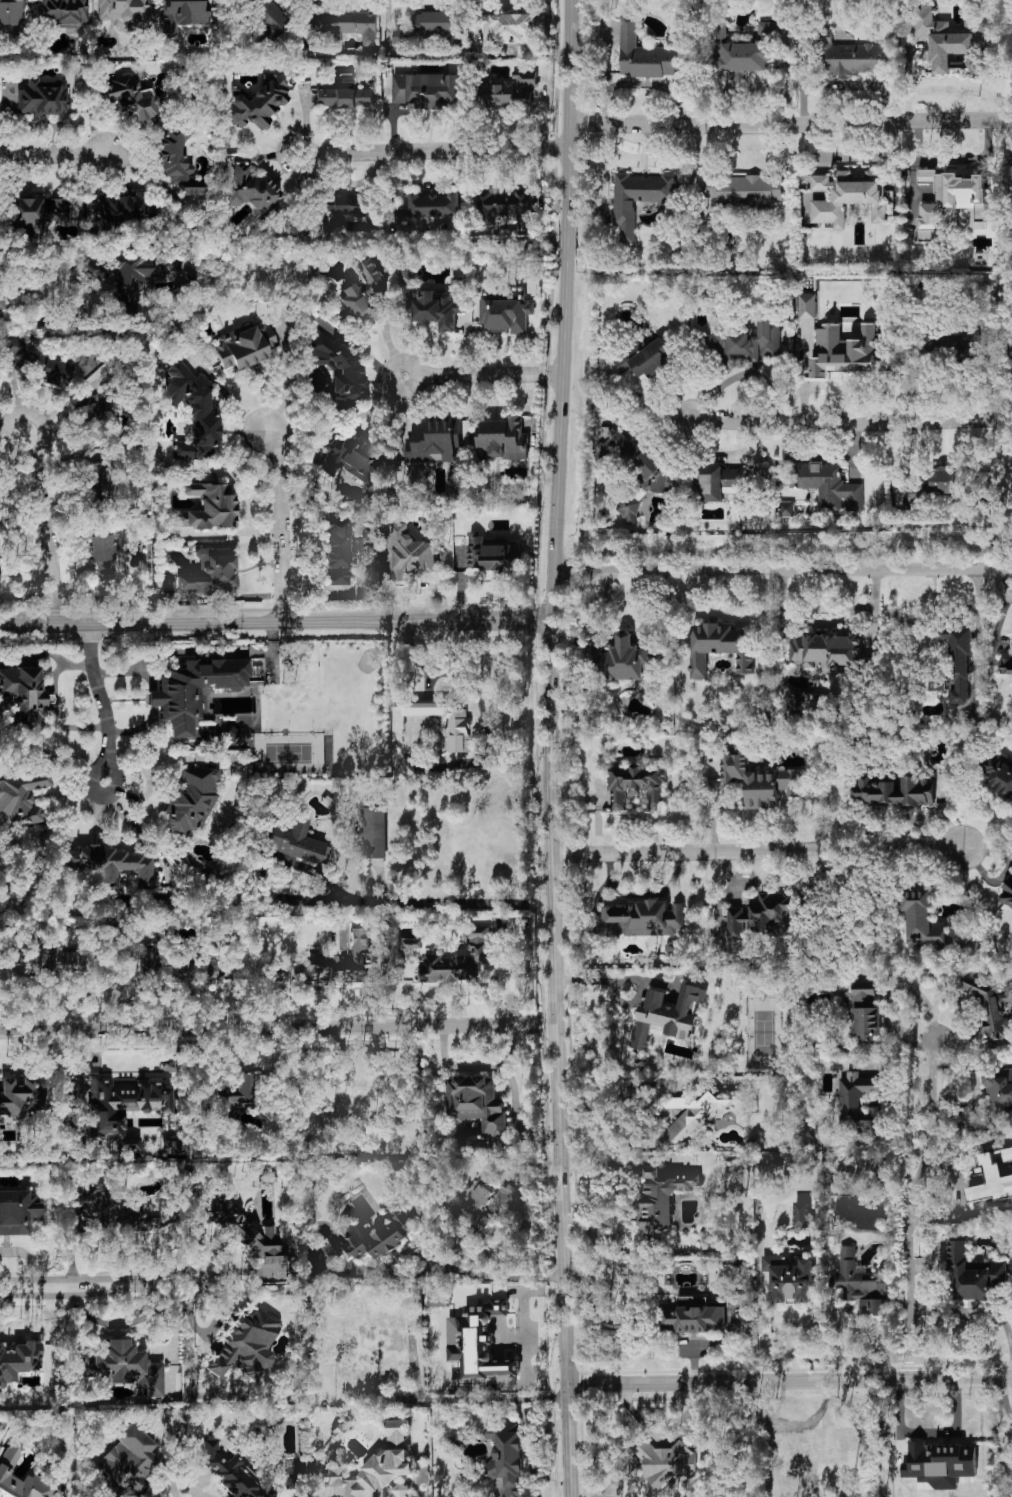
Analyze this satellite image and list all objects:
building: (123, 10)
building: (64, 13)
building: (183, 14)
building: (271, 19)
building: (344, 25)
building: (432, 27)
building: (508, 28)
building: (766, 29)
building: (945, 42)
building: (736, 52)
building: (643, 54)
building: (851, 57)
building: (426, 89)
building: (507, 90)
building: (129, 97)
building: (344, 97)
building: (43, 98)
building: (257, 105)
road: (790, 122)
road: (431, 149)
road: (56, 155)
building: (176, 162)
building: (926, 175)
building: (246, 186)
building: (745, 188)
building: (640, 194)
building: (846, 197)
building: (953, 203)
building: (502, 206)
building: (430, 207)
building: (128, 208)
building: (350, 208)
building: (42, 214)
building: (405, 273)
building: (126, 276)
building: (190, 280)
building: (362, 295)
building: (2, 299)
building: (807, 305)
building: (432, 307)
building: (506, 314)
building: (748, 341)
building: (971, 345)
building: (244, 347)
building: (844, 351)
building: (647, 357)
building: (340, 372)
road: (483, 375)
building: (192, 412)
building: (88, 415)
road: (849, 418)
road: (12, 429)
road: (12, 435)
building: (502, 438)
building: (433, 439)
building: (353, 460)
building: (636, 460)
building: (718, 482)
building: (935, 482)
building: (209, 507)
building: (787, 508)
building: (629, 511)
road: (280, 524)
road: (45, 530)
building: (337, 551)
building: (409, 553)
building: (492, 553)
building: (103, 556)
road: (784, 568)
building: (210, 573)
road: (276, 622)
road: (978, 633)
building: (719, 647)
building: (826, 648)
building: (621, 659)
building: (955, 665)
building: (1006, 665)
building: (193, 690)
building: (25, 695)
road: (480, 699)
building: (806, 701)
road: (101, 702)
building: (458, 733)
road: (550, 748)
building: (997, 774)
building: (758, 780)
building: (637, 787)
building: (895, 791)
building: (22, 798)
building: (192, 801)
road: (607, 821)
building: (373, 832)
building: (295, 844)
road: (759, 848)
building: (113, 865)
building: (1007, 893)
road: (447, 901)
building: (760, 912)
building: (646, 917)
building: (922, 921)
building: (411, 943)
building: (459, 960)
building: (42, 962)
building: (340, 963)
building: (176, 968)
road: (610, 979)
building: (990, 1007)
building: (866, 1013)
building: (668, 1015)
road: (279, 1021)
road: (477, 1068)
building: (999, 1089)
building: (357, 1090)
building: (234, 1097)
building: (21, 1098)
building: (860, 1101)
building: (476, 1102)
building: (123, 1107)
building: (700, 1117)
road: (630, 1164)
building: (994, 1176)
building: (662, 1196)
road: (910, 1198)
building: (491, 1203)
building: (108, 1209)
building: (18, 1211)
building: (801, 1214)
building: (394, 1229)
building: (243, 1231)
road: (476, 1271)
building: (973, 1272)
building: (860, 1277)
building: (789, 1278)
road: (93, 1288)
road: (764, 1304)
building: (873, 1307)
road: (971, 1309)
building: (693, 1316)
road: (804, 1323)
road: (43, 1330)
road: (867, 1330)
building: (478, 1340)
building: (247, 1343)
building: (367, 1347)
building: (18, 1360)
building: (387, 1366)
building: (125, 1368)
road: (791, 1380)
road: (1004, 1397)
road: (487, 1399)
building: (338, 1430)
building: (458, 1437)
building: (506, 1456)
building: (128, 1462)
building: (669, 1463)
building: (939, 1463)
building: (376, 1465)
building: (7, 1466)
road: (162, 1485)
building: (400, 1489)

